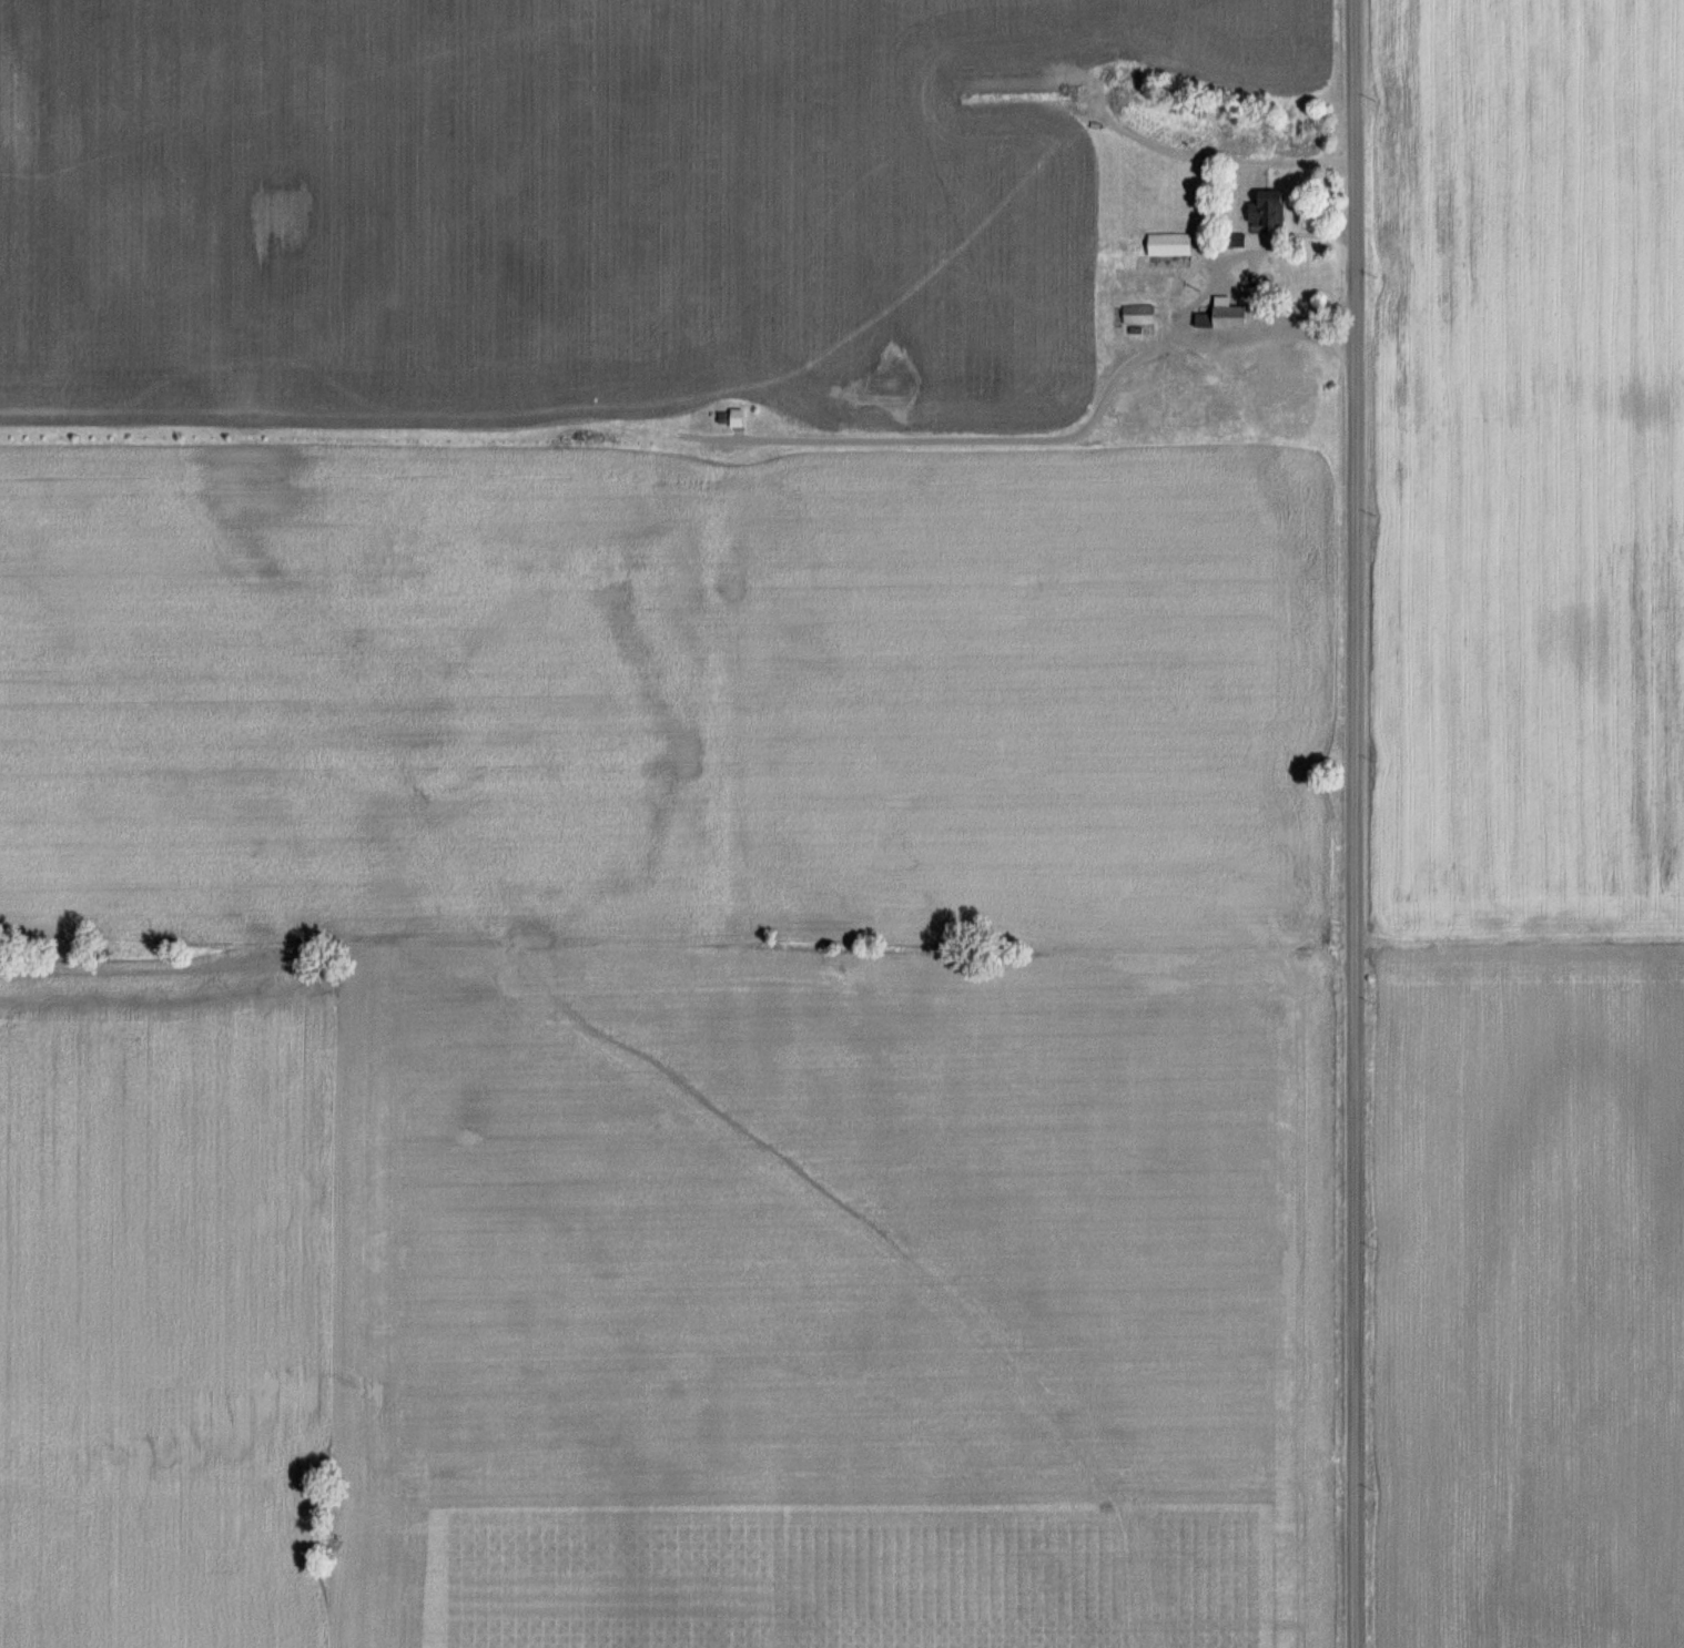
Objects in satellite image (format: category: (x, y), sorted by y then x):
building: (1271, 208)
building: (1173, 243)
road: (1254, 275)
building: (1140, 313)
building: (1226, 314)
building: (733, 417)
road: (1356, 823)

